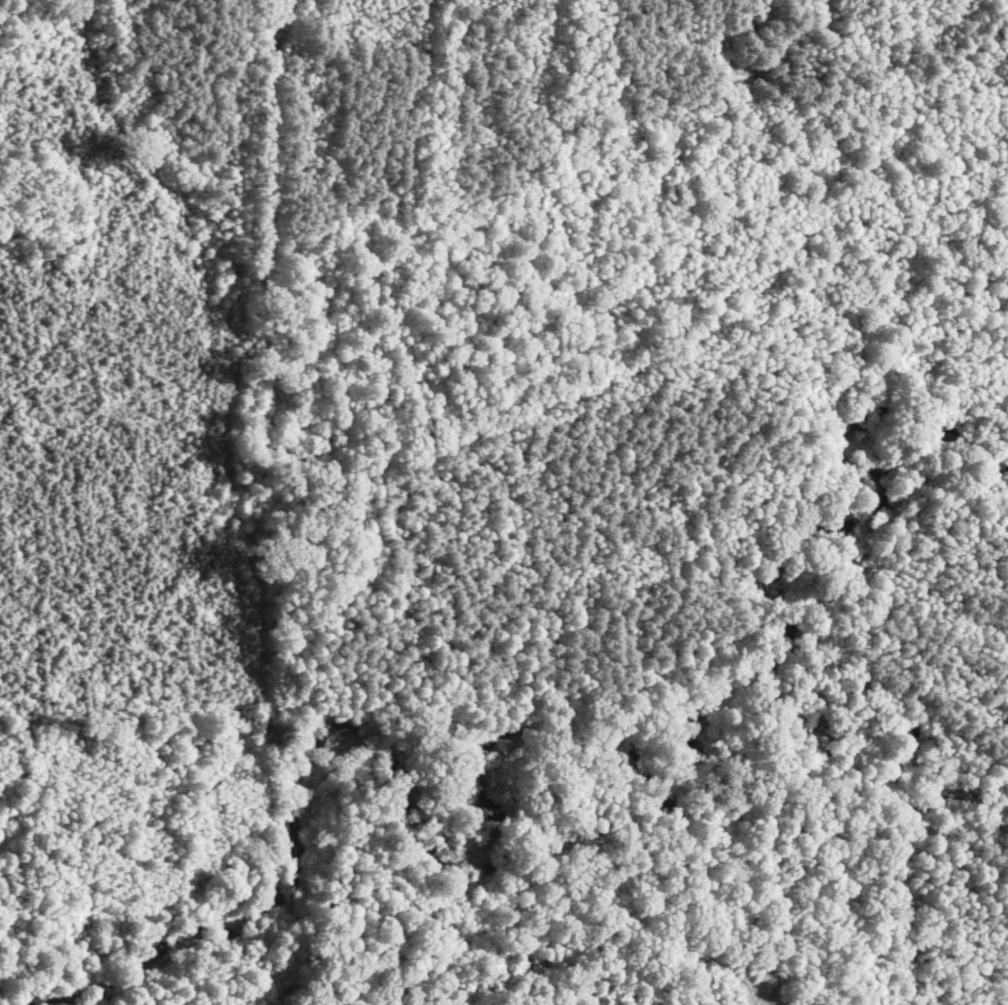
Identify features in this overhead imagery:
road: (589, 900)

